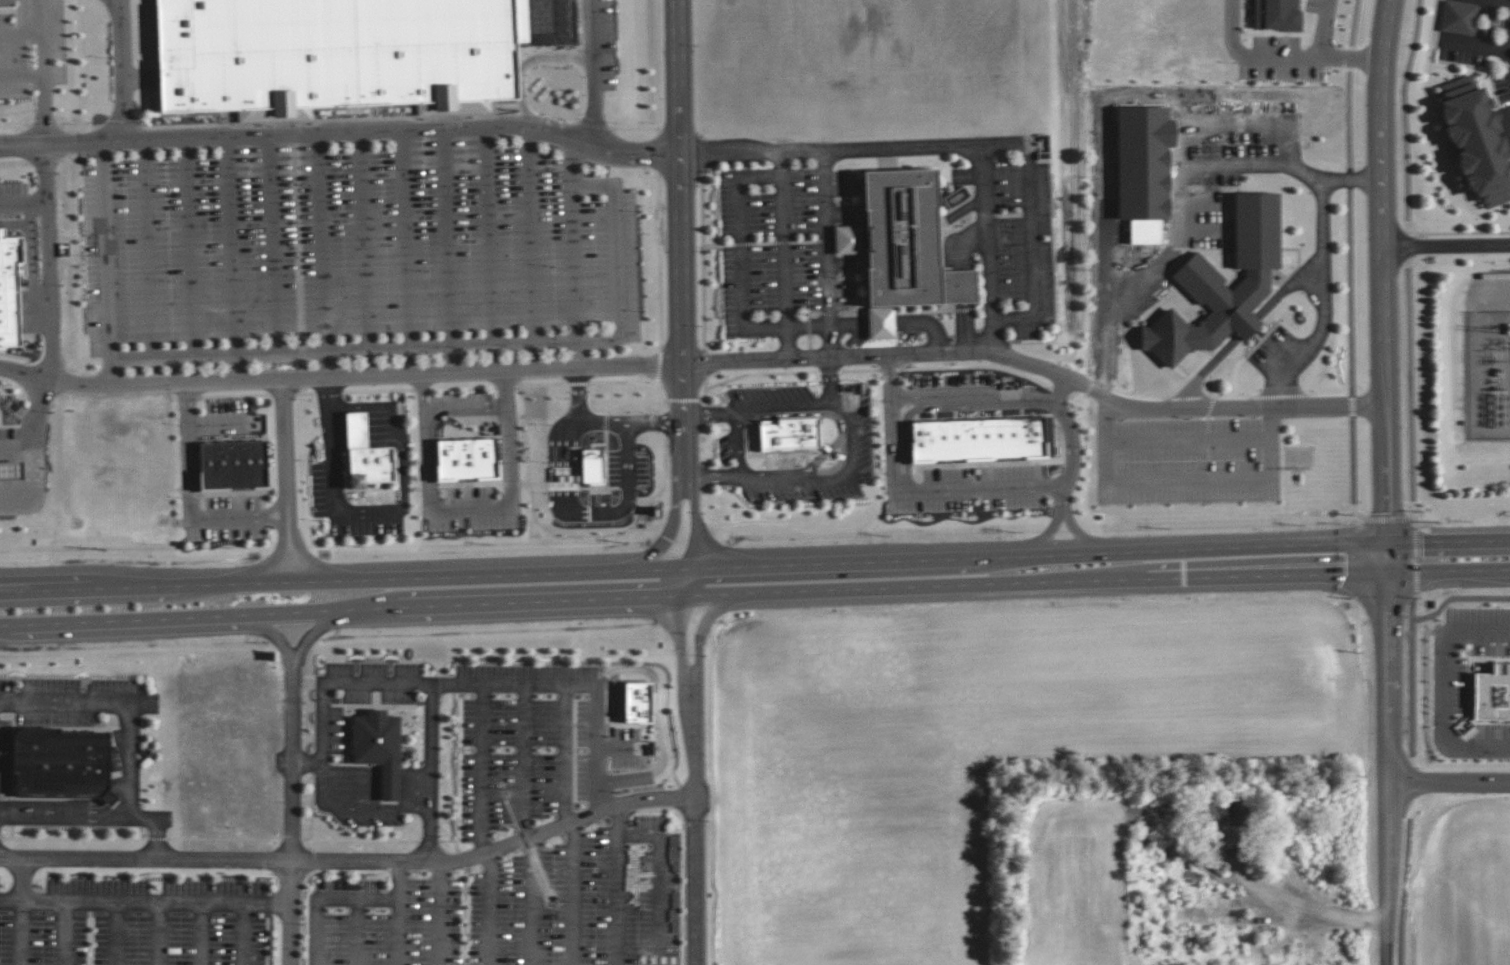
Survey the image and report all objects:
building: (7, 4)
building: (1277, 14)
building: (1459, 17)
road: (1317, 28)
road: (21, 33)
road: (1505, 35)
road: (43, 37)
building: (334, 55)
road: (1281, 56)
road: (656, 63)
road: (590, 69)
road: (117, 71)
road: (46, 87)
road: (1404, 114)
road: (359, 118)
road: (593, 125)
road: (129, 127)
road: (632, 128)
road: (59, 130)
road: (365, 131)
building: (1476, 140)
road: (636, 141)
road: (975, 143)
road: (1177, 143)
road: (23, 146)
road: (567, 159)
road: (1177, 196)
road: (23, 202)
road: (1317, 225)
road: (988, 229)
road: (534, 232)
road: (486, 234)
road: (448, 236)
road: (404, 238)
road: (362, 240)
road: (323, 242)
road: (270, 244)
road: (682, 244)
road: (232, 246)
road: (1407, 246)
road: (1447, 246)
road: (188, 248)
road: (143, 251)
road: (827, 252)
road: (107, 253)
road: (742, 253)
road: (780, 253)
road: (304, 256)
parking lot: (362, 256)
building: (910, 257)
road: (612, 260)
road: (1349, 261)
road: (48, 262)
road: (571, 262)
road: (1384, 278)
building: (1227, 283)
building: (9, 289)
road: (1312, 337)
road: (342, 350)
road: (575, 355)
road: (458, 359)
road: (331, 364)
road: (239, 368)
road: (504, 372)
road: (1198, 373)
road: (110, 375)
road: (830, 380)
road: (1410, 390)
road: (970, 394)
road: (1192, 408)
road: (466, 410)
road: (836, 418)
road: (608, 420)
parking lot: (733, 422)
road: (367, 425)
road: (218, 426)
road: (1063, 431)
building: (788, 434)
parking lot: (860, 437)
building: (978, 438)
road: (851, 440)
road: (1186, 440)
road: (425, 442)
road: (738, 445)
road: (31, 449)
road: (824, 454)
building: (365, 455)
road: (286, 457)
building: (467, 459)
building: (233, 464)
building: (11, 470)
gas station: (11, 470)
road: (557, 470)
road: (403, 472)
road: (337, 475)
road: (1182, 482)
road: (511, 483)
road: (629, 483)
road: (909, 487)
road: (191, 501)
road: (1389, 518)
road: (1068, 523)
road: (700, 525)
road: (1050, 525)
road: (1460, 530)
road: (671, 532)
traffic signals: (1387, 543)
road: (1415, 557)
road: (311, 560)
road: (273, 561)
road: (755, 566)
traffic signals: (1387, 573)
road: (690, 583)
road: (754, 593)
road: (701, 630)
road: (315, 631)
road: (275, 633)
road: (680, 638)
road: (458, 685)
road: (507, 685)
road: (1445, 692)
building: (1492, 693)
building: (637, 702)
road: (657, 721)
road: (127, 728)
road: (598, 730)
road: (694, 736)
road: (323, 742)
building: (378, 748)
road: (293, 759)
road: (1390, 761)
road: (523, 763)
building: (61, 764)
road: (432, 773)
road: (1450, 785)
road: (1413, 795)
building: (1231, 824)
road: (227, 840)
road: (353, 861)
road: (659, 880)
road: (695, 881)
road: (618, 884)
road: (1408, 885)
road: (22, 889)
road: (572, 892)
road: (156, 899)
road: (345, 900)
road: (532, 901)
road: (1317, 905)
road: (490, 909)
road: (290, 912)
road: (439, 913)
road: (22, 931)
road: (65, 931)
road: (114, 932)
road: (158, 932)
road: (204, 932)
road: (245, 932)
road: (357, 932)
road: (400, 932)

